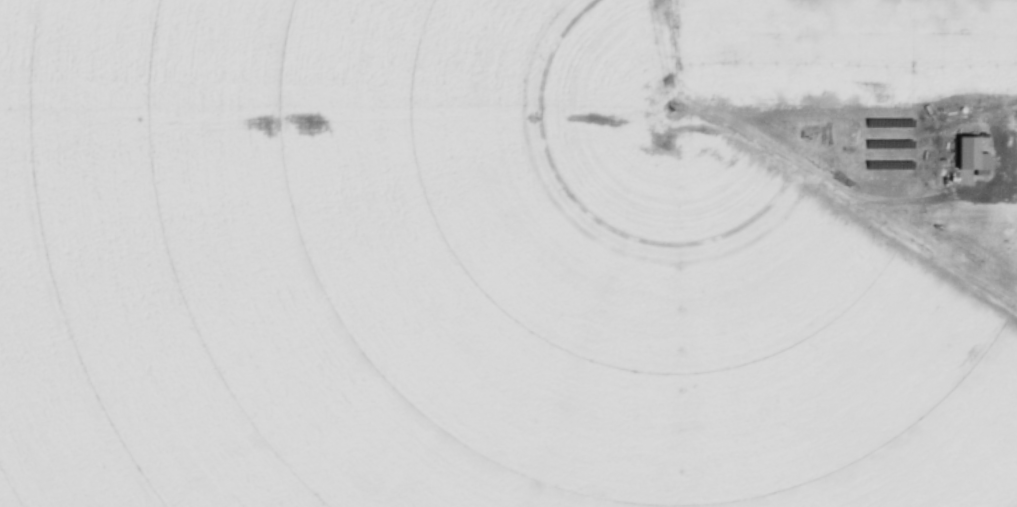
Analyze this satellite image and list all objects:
building: (974, 156)

